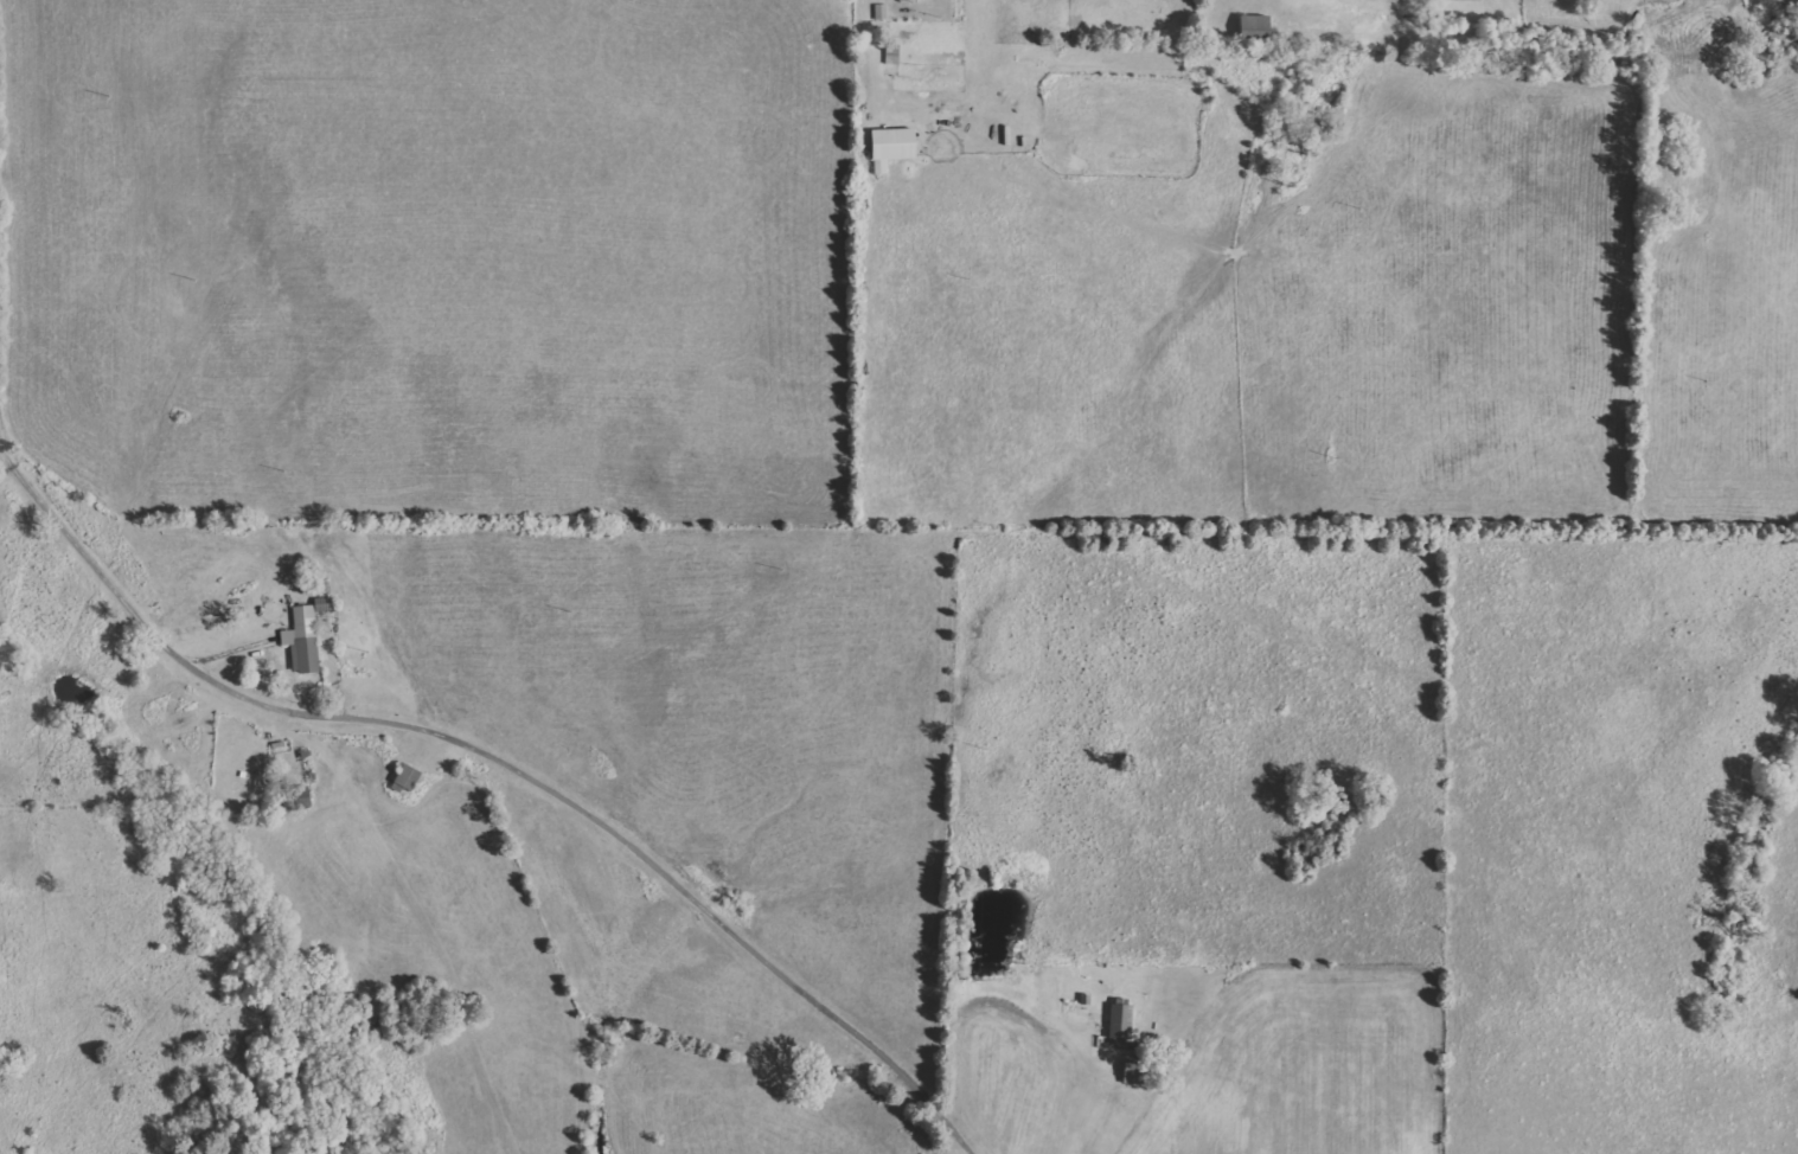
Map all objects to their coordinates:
building: (1258, 30)
building: (895, 146)
building: (325, 604)
building: (305, 640)
road: (499, 754)
building: (408, 778)
building: (297, 797)
building: (1124, 1019)
building: (1138, 1070)

